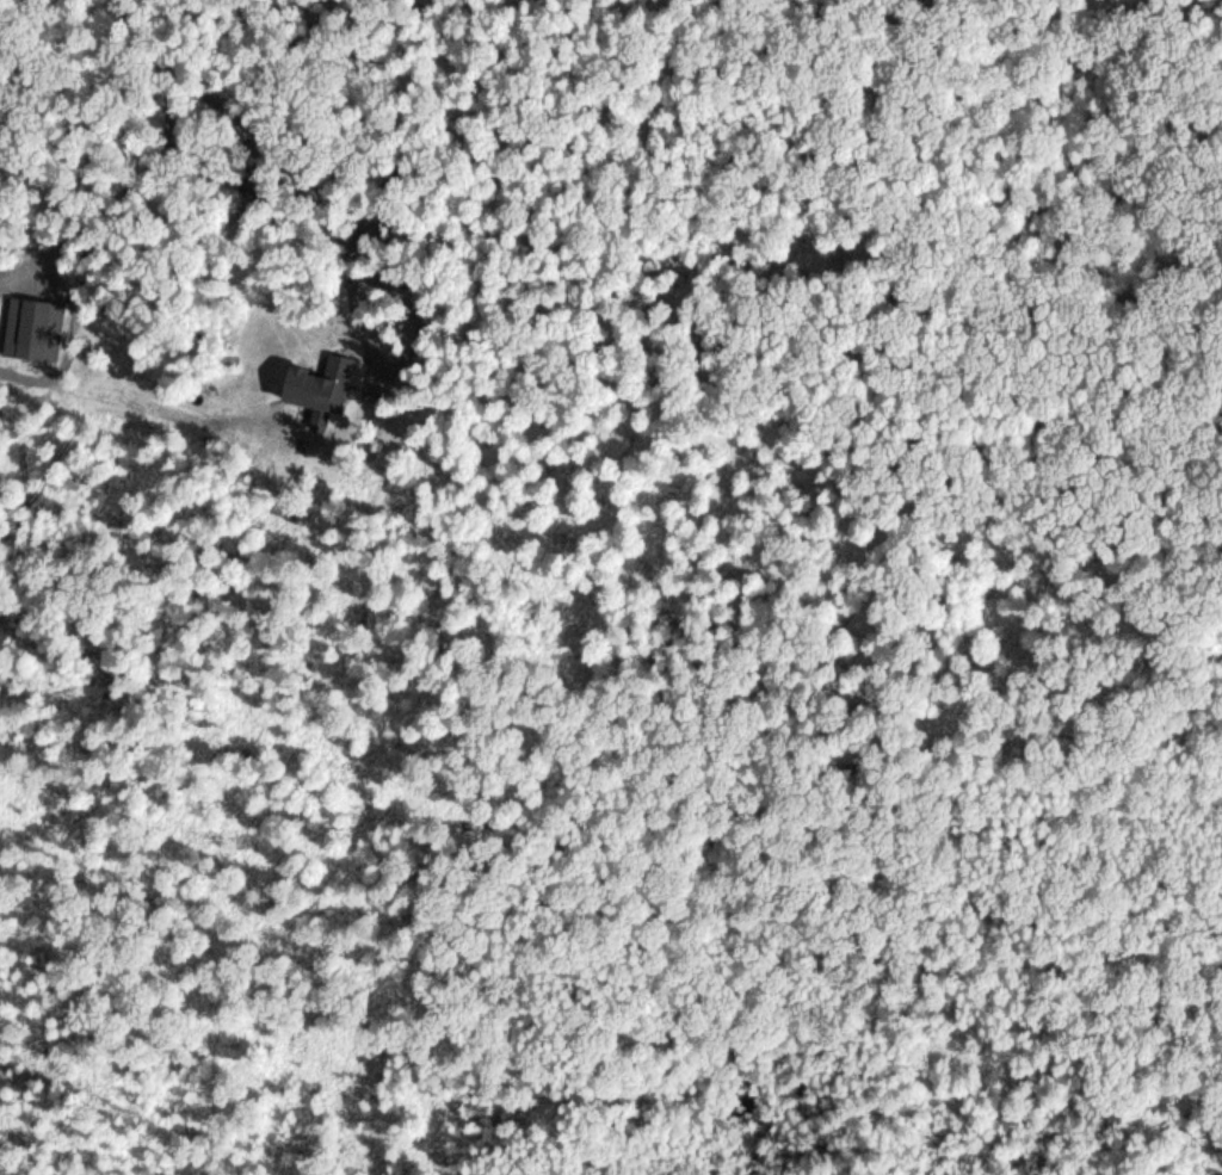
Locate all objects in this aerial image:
building: (32, 328)

